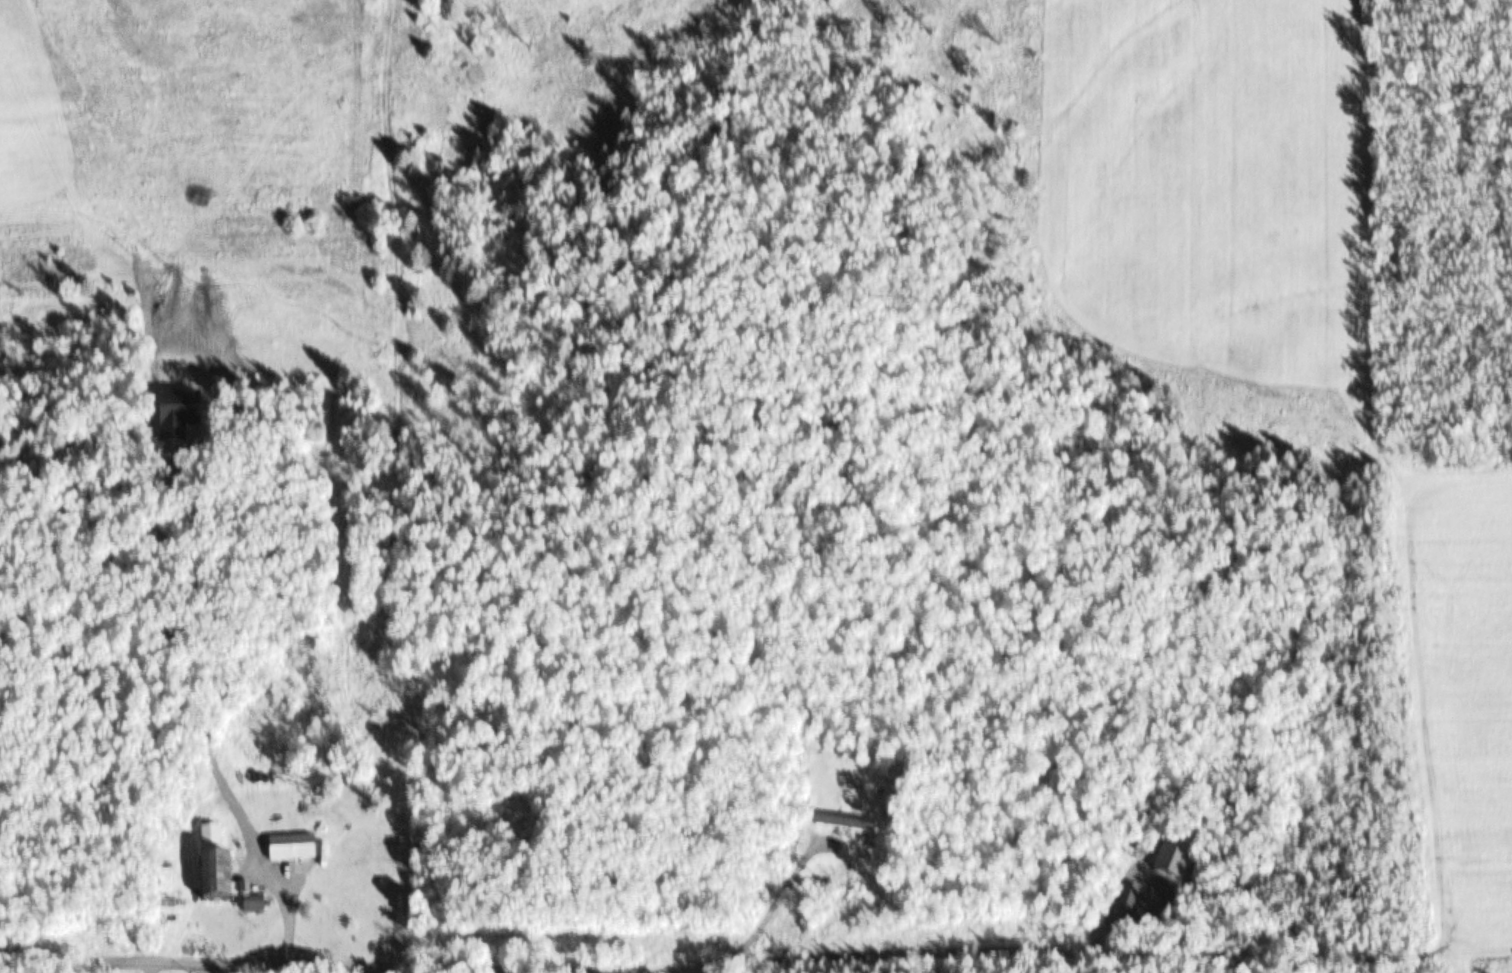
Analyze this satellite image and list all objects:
building: (831, 825)
building: (342, 848)
building: (286, 849)
building: (203, 868)
building: (1124, 898)
road: (1493, 965)
road: (1230, 969)

